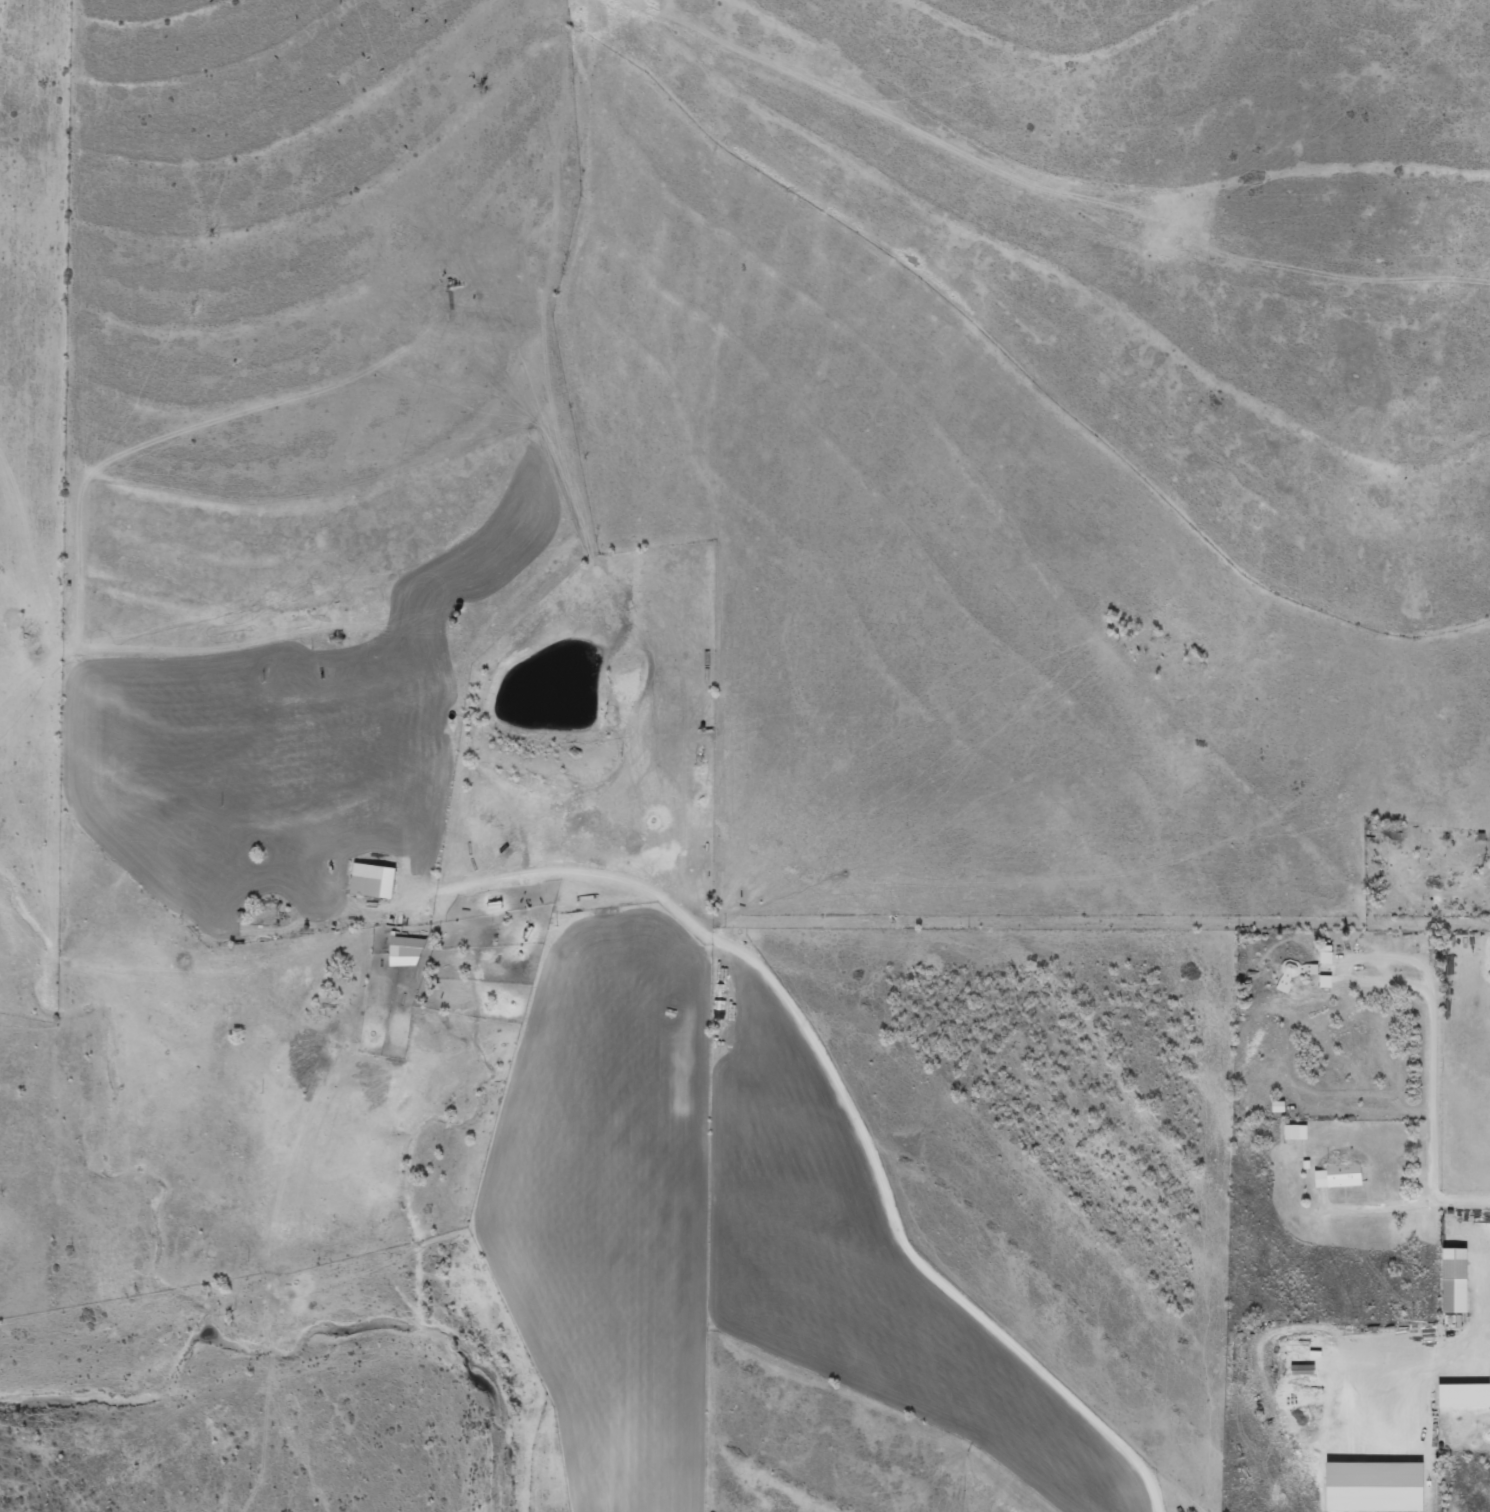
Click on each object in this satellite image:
building: (375, 880)
road: (1044, 897)
building: (1328, 954)
building: (1298, 971)
building: (1328, 980)
road: (847, 1097)
building: (1281, 1105)
building: (1298, 1131)
building: (1342, 1175)
building: (1457, 1280)
building: (1306, 1371)
building: (1466, 1395)
building: (1379, 1486)

